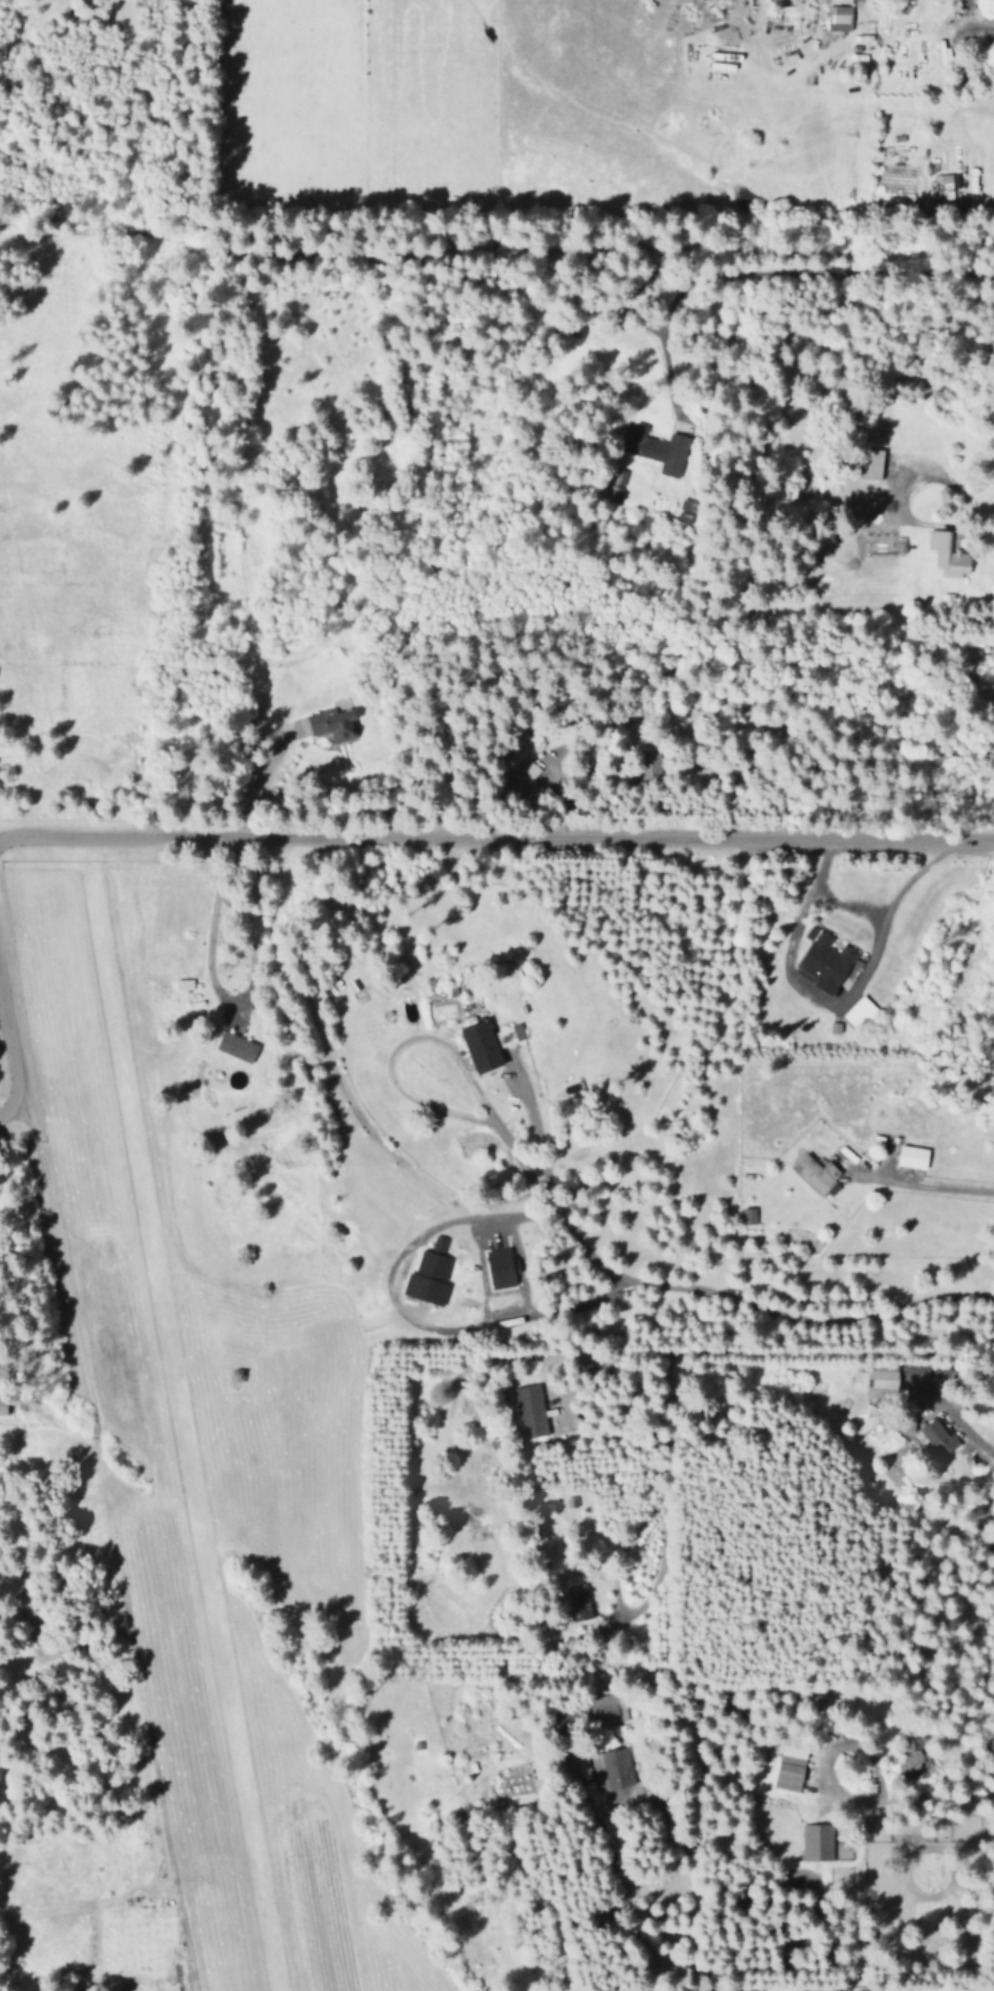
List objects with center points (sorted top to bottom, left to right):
building: (839, 17)
building: (943, 186)
road: (493, 245)
building: (656, 448)
building: (870, 463)
building: (616, 481)
building: (685, 512)
building: (947, 554)
building: (332, 723)
building: (647, 766)
road: (495, 841)
building: (822, 961)
building: (183, 984)
building: (859, 1013)
building: (489, 1044)
building: (237, 1046)
road: (446, 1050)
road: (8, 1061)
road: (5, 1111)
building: (912, 1157)
building: (815, 1173)
building: (748, 1215)
building: (501, 1267)
building: (429, 1274)
road: (707, 1292)
road: (695, 1353)
airport runway: (191, 1365)
building: (876, 1380)
building: (3, 1405)
building: (528, 1411)
airport runway: (172, 1432)
building: (939, 1437)
airport runway: (101, 1465)
road: (99, 1548)
building: (581, 1609)
building: (606, 1707)
building: (908, 1754)
building: (788, 1766)
building: (611, 1769)
building: (817, 1842)
road: (628, 1899)

